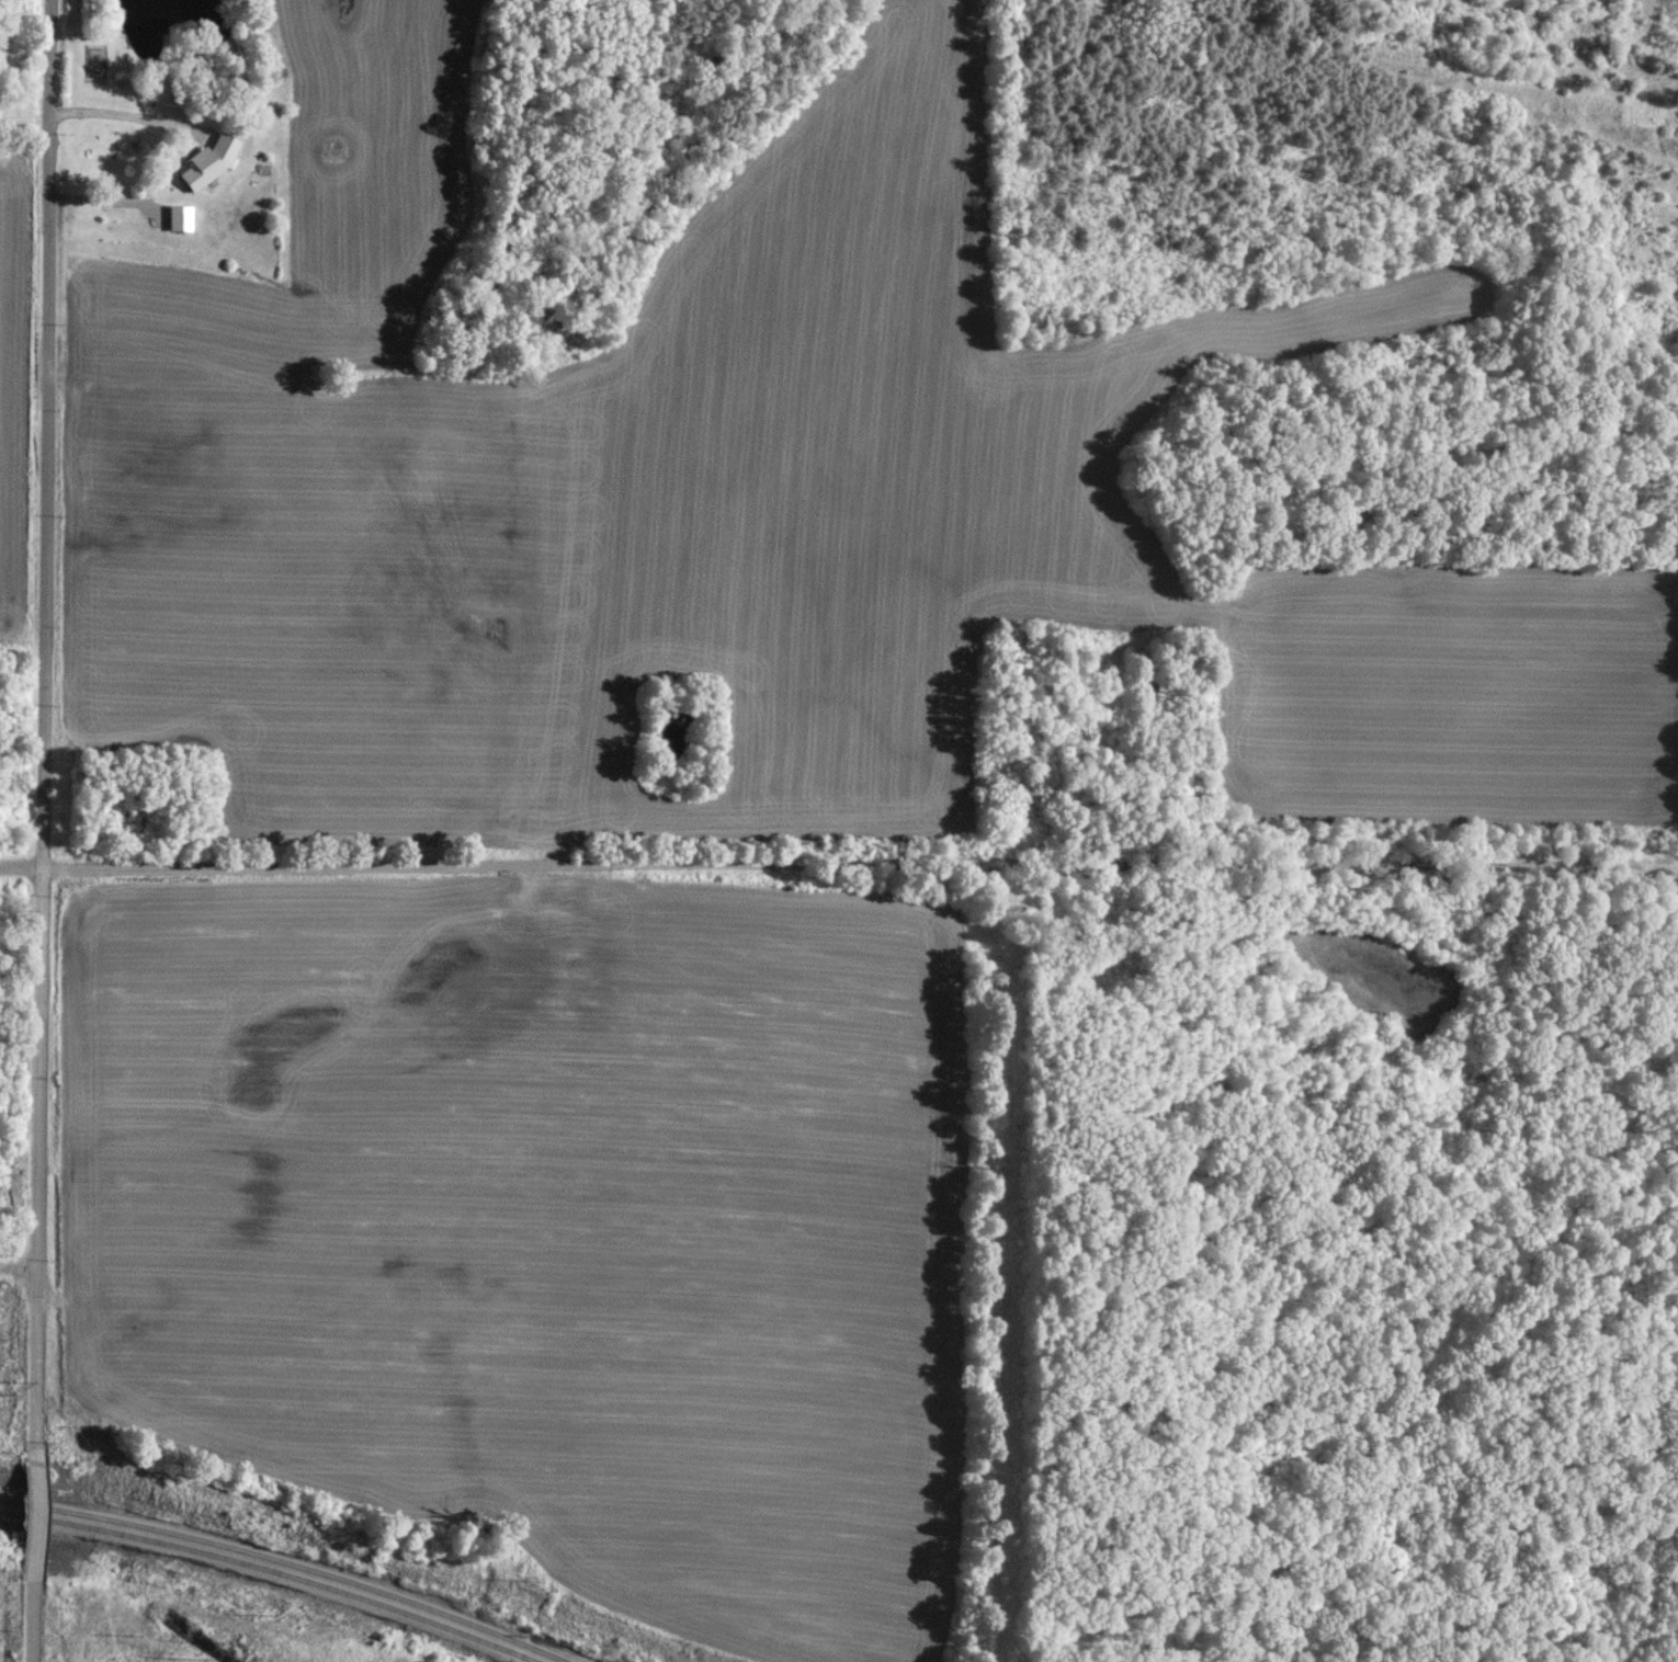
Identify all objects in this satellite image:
building: (215, 159)
building: (183, 216)
road: (50, 726)
road: (421, 863)
power tower: (4, 1389)
road: (36, 1515)
railway: (271, 1571)
road: (35, 1620)
power tower: (209, 1652)

